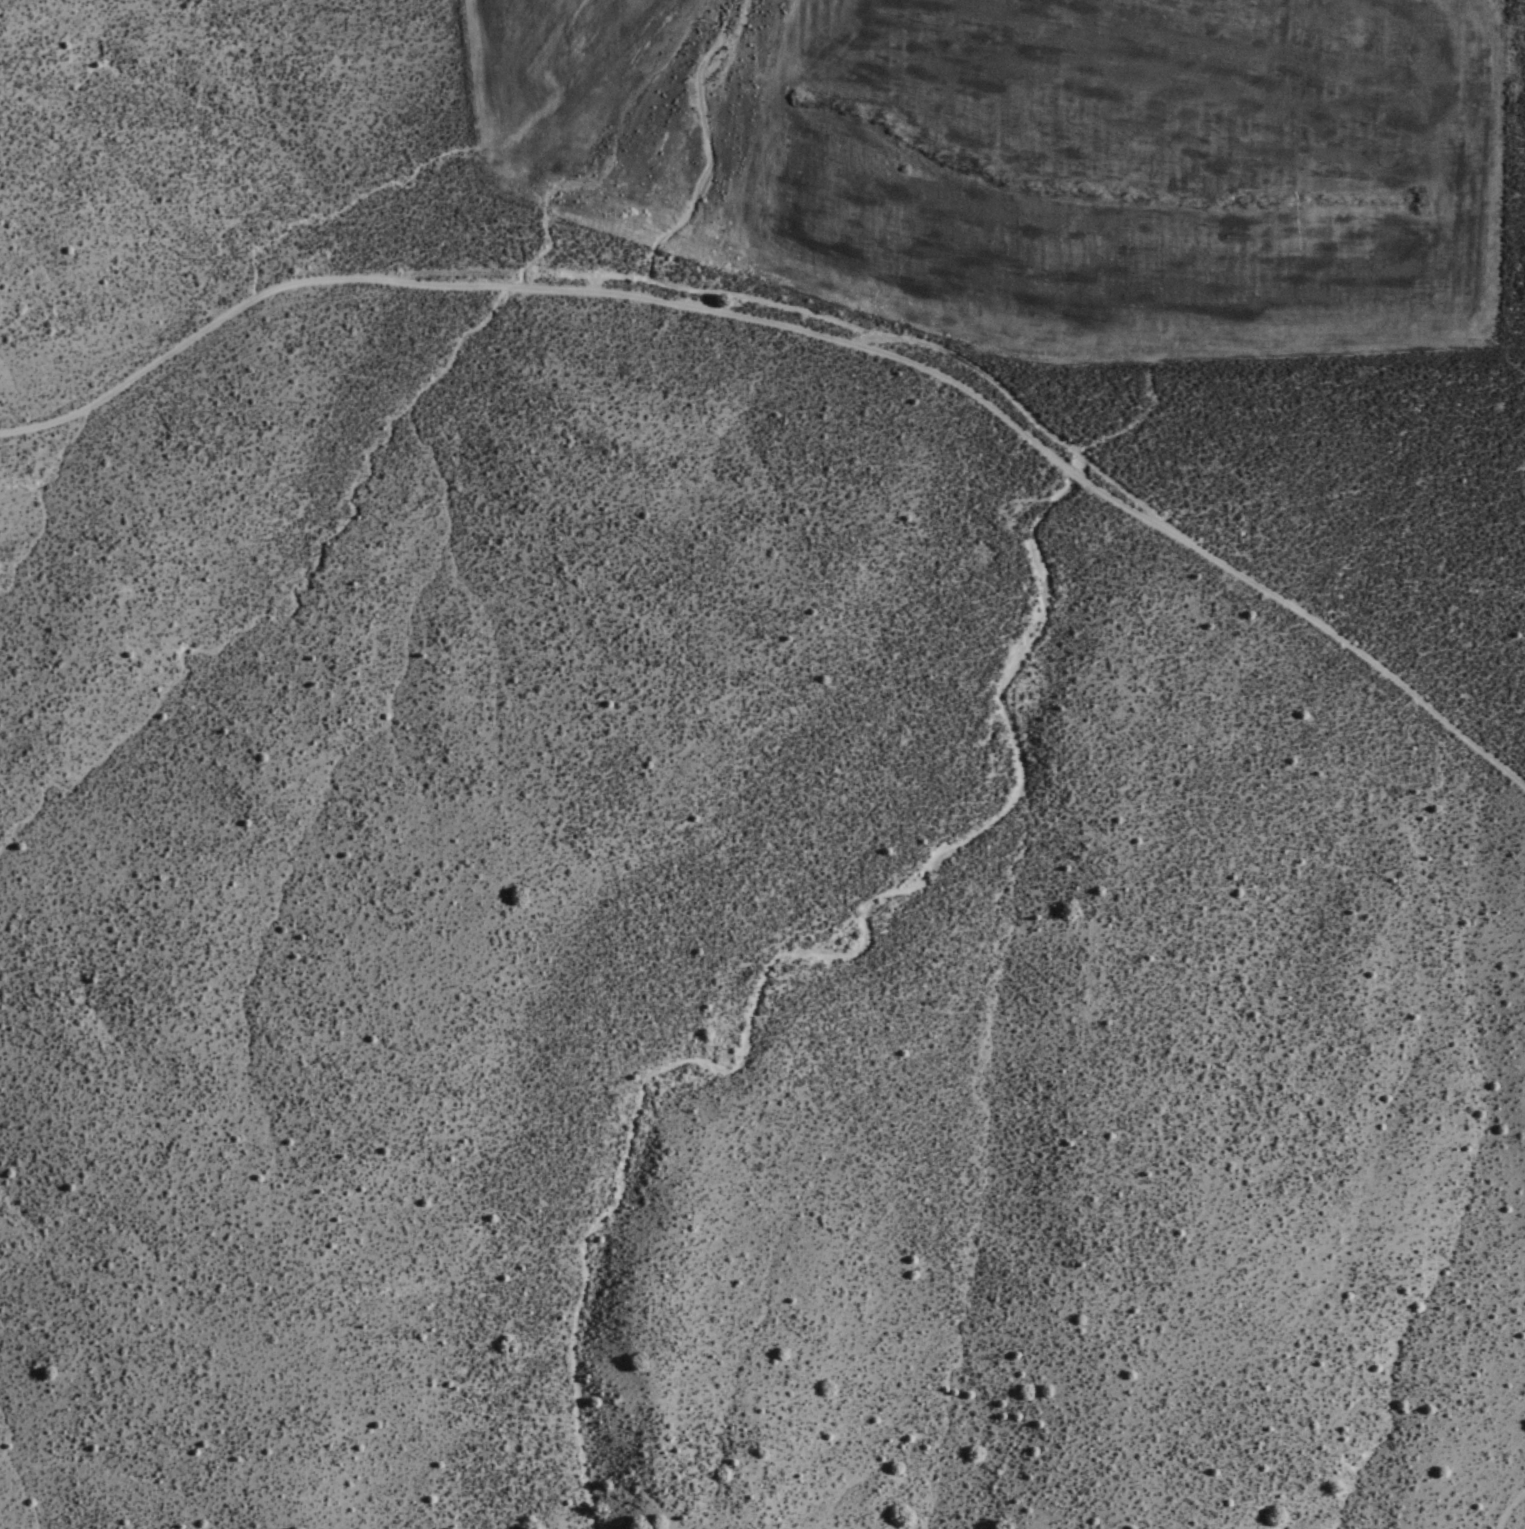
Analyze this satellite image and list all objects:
road: (790, 302)
road: (1504, 768)

